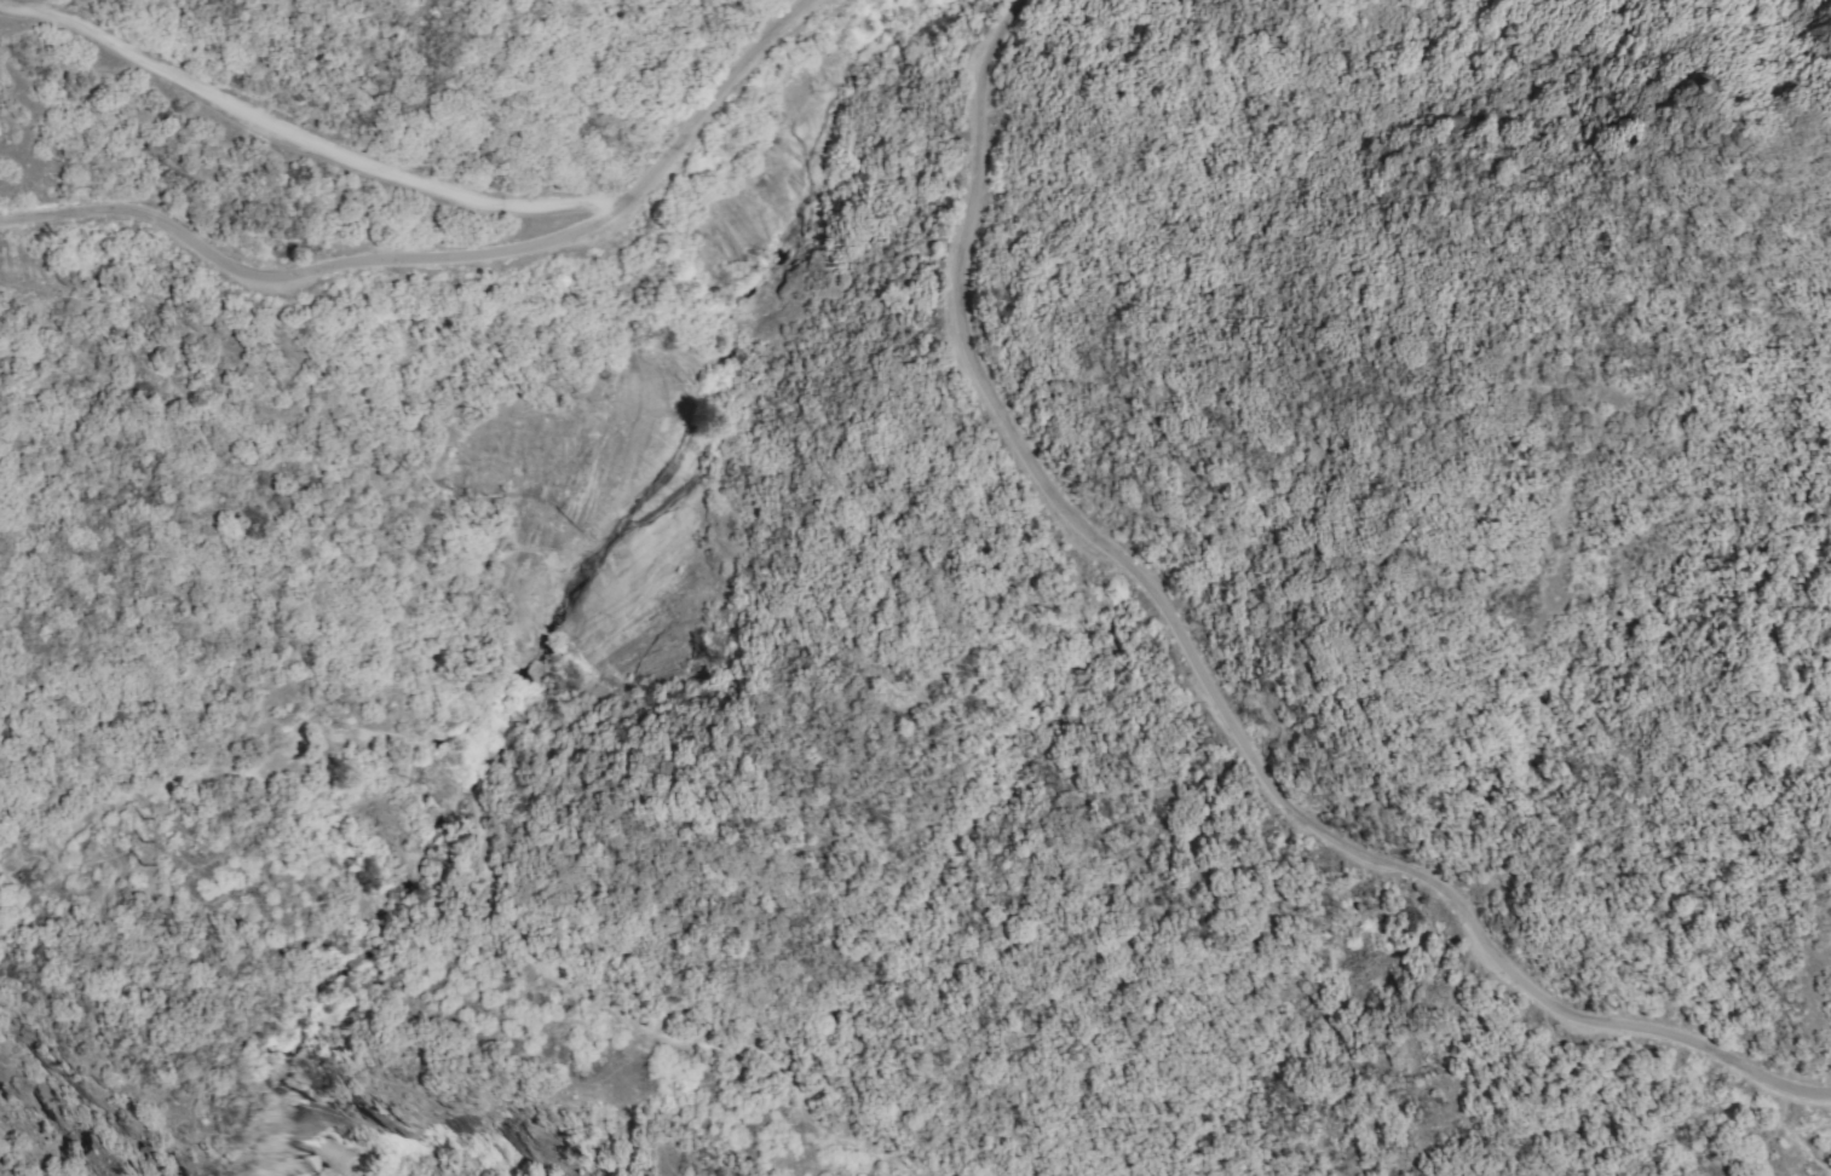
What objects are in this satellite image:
road: (301, 140)
road: (441, 256)
road: (1221, 671)
power tower: (138, 840)

